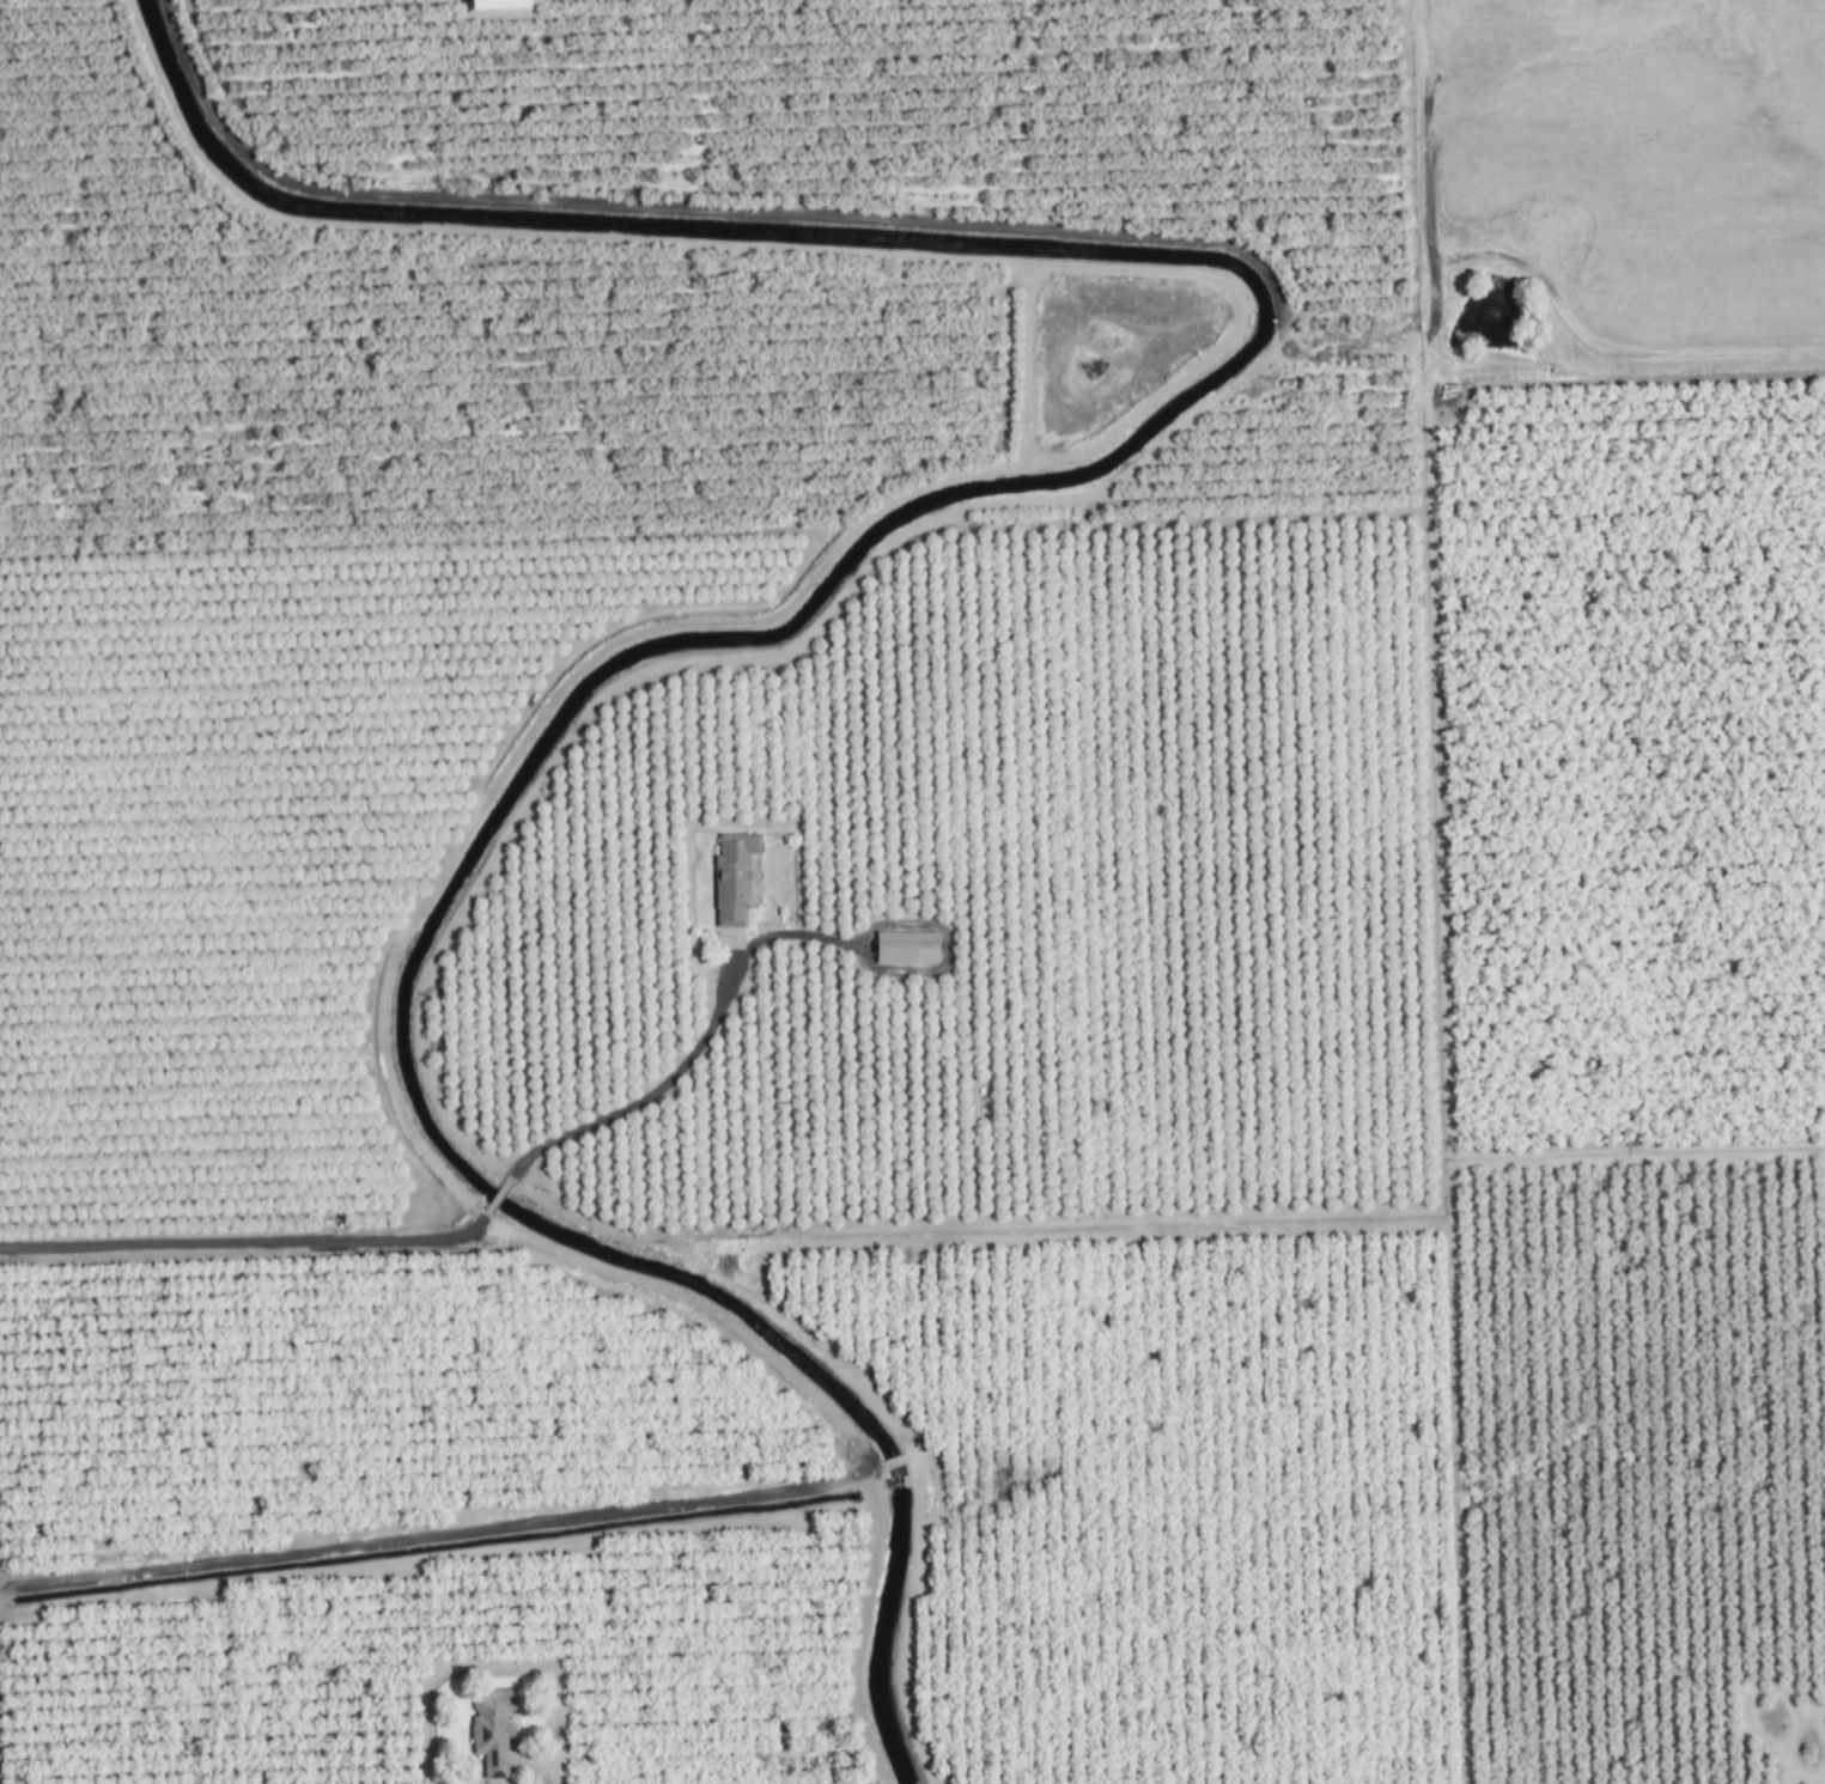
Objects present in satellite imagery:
river: (859, 535)
building: (735, 877)
building: (926, 908)
crop: (230, 912)
building: (907, 948)
road: (414, 1237)
building: (493, 1728)

